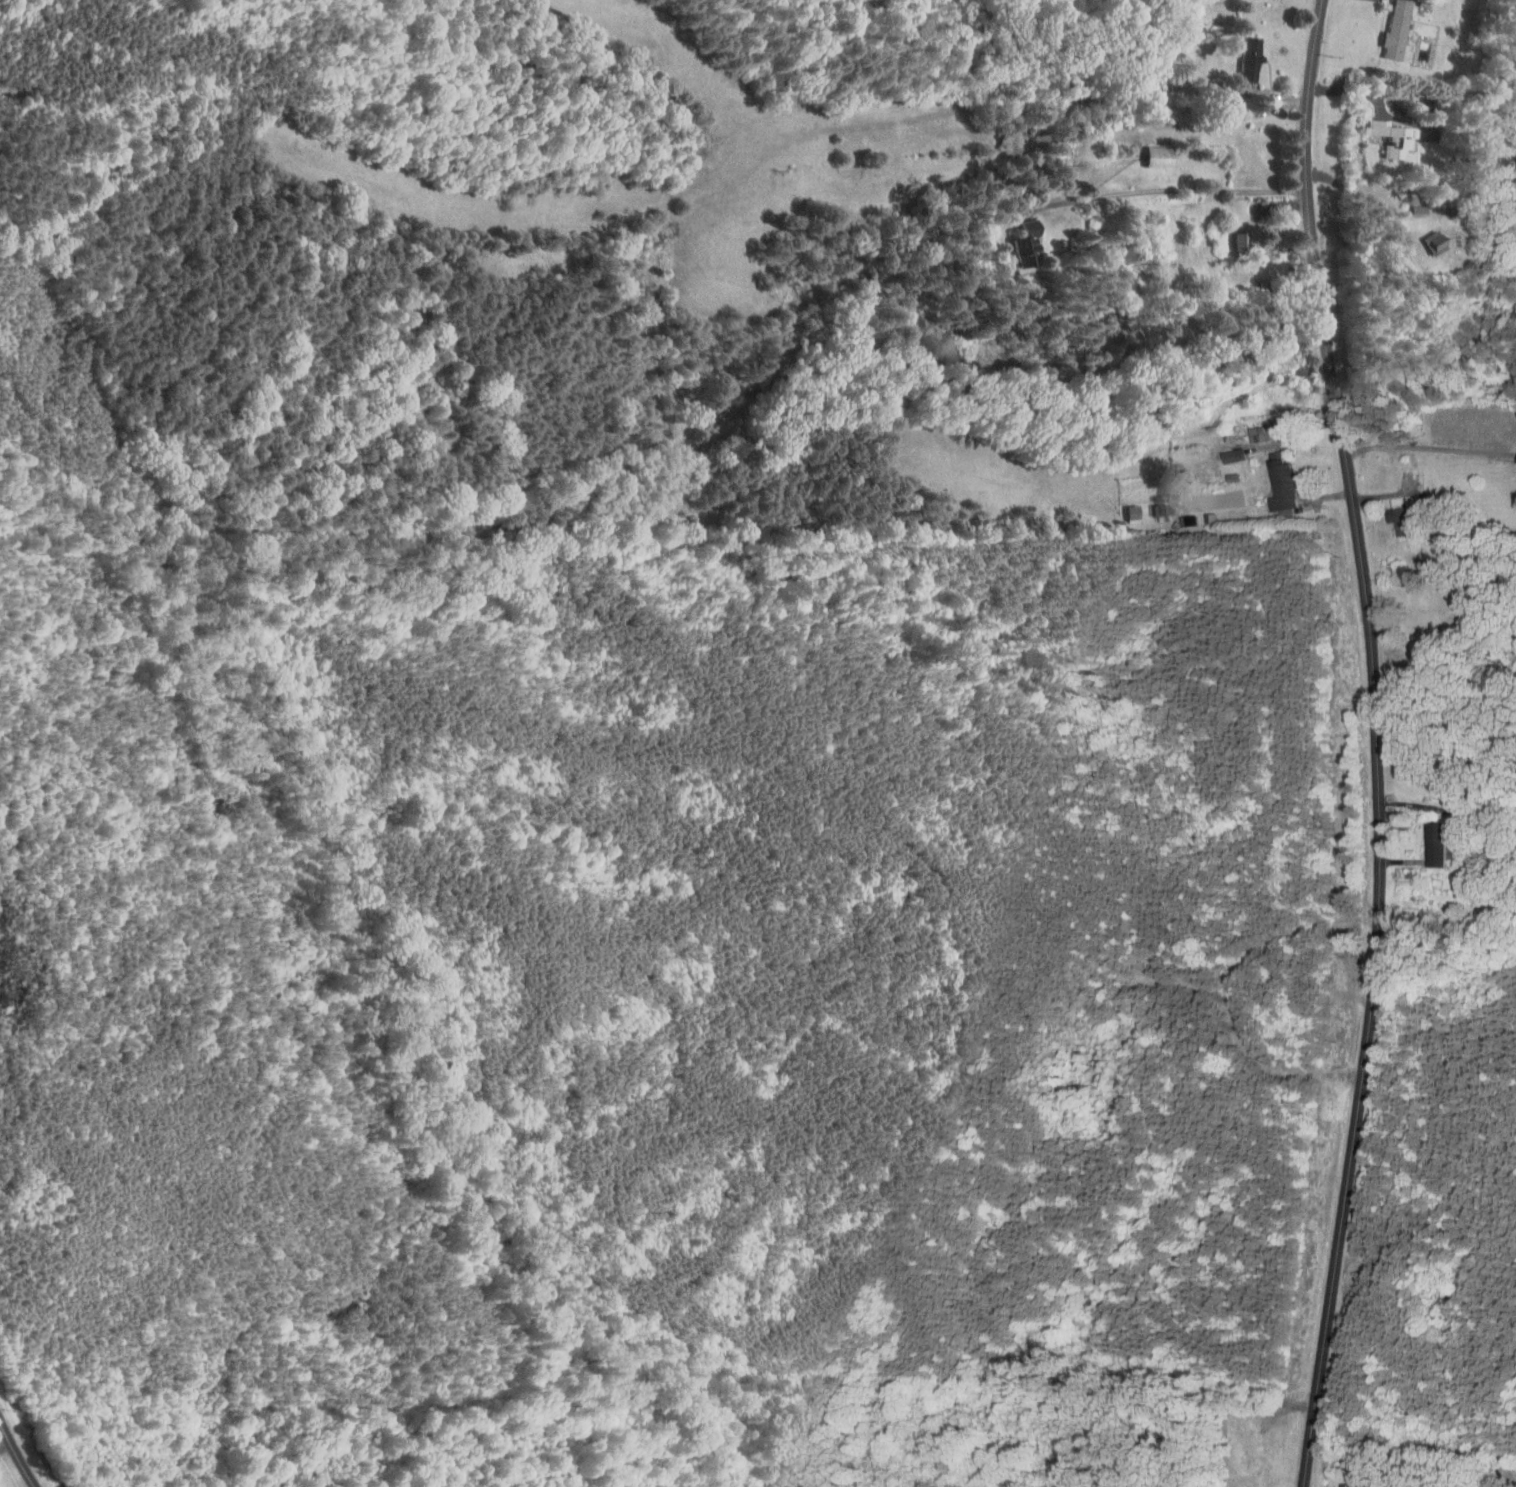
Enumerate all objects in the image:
building: (1387, 25)
building: (1242, 51)
road: (930, 85)
road: (1267, 111)
building: (1384, 131)
building: (1150, 151)
road: (522, 177)
road: (1171, 189)
building: (1231, 234)
building: (1425, 236)
building: (1018, 239)
road: (1430, 446)
building: (1223, 449)
building: (1272, 478)
road: (1403, 491)
building: (1153, 503)
building: (1123, 507)
building: (1393, 514)
road: (1377, 743)
building: (1427, 839)
road: (16, 1454)
building: (1335, 1482)

